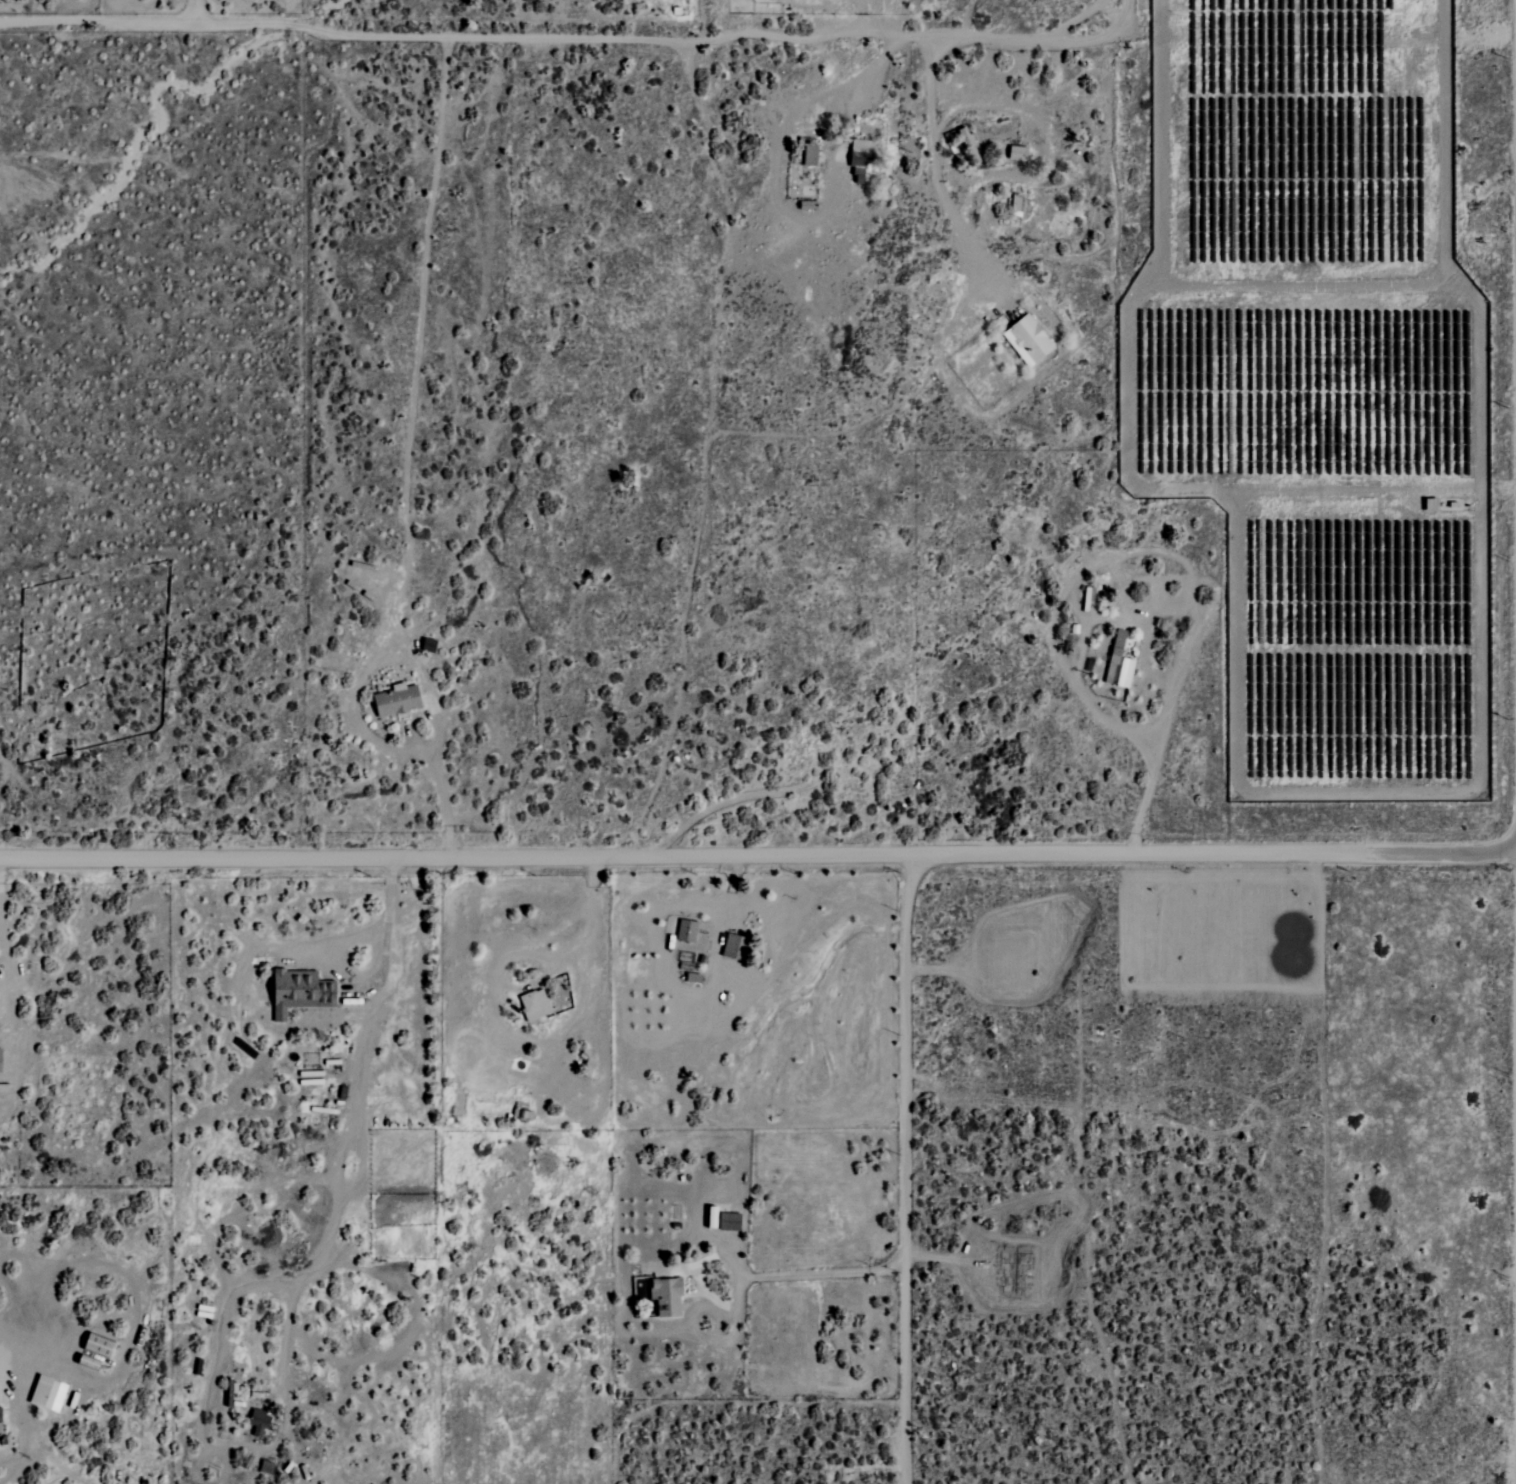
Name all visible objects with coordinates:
road: (1114, 7)
road: (193, 11)
road: (863, 20)
road: (560, 40)
road: (1043, 102)
road: (978, 104)
road: (791, 117)
road: (1015, 136)
building: (1019, 153)
building: (810, 156)
building: (861, 157)
road: (933, 171)
road: (1024, 180)
building: (1017, 205)
building: (1029, 341)
building: (1433, 504)
road: (411, 659)
building: (1120, 662)
building: (397, 700)
road: (1137, 748)
road: (758, 857)
road: (592, 944)
road: (4, 956)
building: (301, 992)
building: (535, 1005)
road: (906, 1170)
building: (730, 1221)
road: (747, 1277)
road: (294, 1294)
building: (667, 1297)
building: (99, 1345)
road: (18, 1377)
building: (49, 1394)
building: (0, 1415)
building: (259, 1422)
building: (266, 1467)

